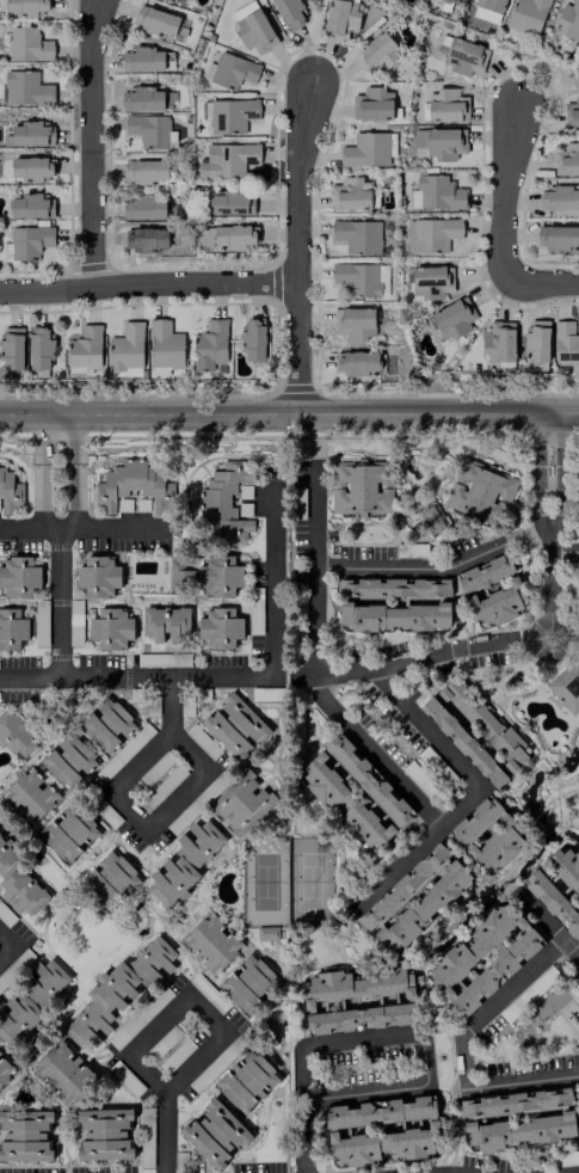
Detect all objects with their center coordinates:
building: (183, 0)
building: (450, 1)
building: (26, 6)
building: (487, 10)
building: (289, 12)
building: (526, 16)
building: (340, 18)
building: (156, 20)
building: (568, 20)
building: (253, 27)
building: (26, 43)
building: (376, 53)
building: (464, 56)
building: (142, 59)
building: (233, 69)
building: (26, 88)
building: (143, 99)
building: (372, 104)
building: (446, 105)
building: (232, 115)
building: (571, 115)
building: (150, 130)
building: (30, 134)
building: (441, 142)
road: (90, 143)
building: (365, 149)
building: (566, 160)
building: (31, 167)
building: (146, 171)
road: (505, 186)
building: (439, 192)
building: (350, 194)
building: (558, 197)
building: (226, 202)
building: (27, 205)
building: (143, 207)
building: (435, 233)
building: (233, 235)
building: (357, 235)
building: (559, 237)
building: (146, 238)
building: (29, 241)
road: (296, 245)
building: (362, 278)
building: (432, 281)
road: (147, 282)
road: (541, 282)
building: (451, 319)
building: (353, 323)
building: (252, 339)
building: (499, 342)
building: (209, 344)
building: (165, 345)
building: (566, 345)
building: (127, 346)
building: (39, 348)
building: (85, 348)
building: (11, 349)
building: (357, 362)
road: (289, 413)
road: (41, 473)
road: (76, 473)
road: (558, 473)
road: (537, 474)
building: (131, 485)
building: (362, 487)
building: (8, 491)
building: (244, 491)
building: (480, 491)
building: (578, 499)
building: (223, 503)
building: (431, 517)
road: (81, 530)
road: (563, 551)
road: (315, 565)
road: (413, 567)
building: (483, 573)
building: (177, 575)
building: (220, 575)
road: (273, 575)
road: (549, 576)
building: (18, 577)
building: (98, 577)
building: (442, 602)
building: (498, 603)
road: (60, 604)
building: (165, 622)
building: (110, 627)
building: (220, 627)
building: (12, 630)
road: (572, 639)
road: (550, 652)
road: (424, 655)
road: (135, 677)
building: (566, 686)
road: (168, 705)
building: (241, 718)
building: (483, 721)
building: (106, 724)
road: (424, 727)
building: (14, 733)
building: (224, 733)
building: (462, 741)
building: (75, 754)
road: (371, 754)
building: (58, 769)
building: (367, 779)
building: (29, 796)
building: (341, 802)
building: (241, 803)
road: (149, 825)
building: (68, 831)
building: (487, 834)
road: (415, 848)
building: (184, 862)
building: (562, 866)
building: (111, 879)
park: (265, 882)
park: (310, 882)
building: (19, 884)
building: (414, 897)
building: (553, 902)
road: (547, 925)
building: (266, 933)
building: (210, 942)
road: (7, 946)
building: (473, 947)
building: (495, 971)
building: (248, 982)
road: (511, 988)
building: (117, 991)
building: (358, 1000)
building: (32, 1001)
road: (361, 1038)
road: (423, 1058)
road: (462, 1061)
building: (5, 1069)
building: (62, 1073)
building: (246, 1080)
road: (522, 1081)
road: (162, 1091)
road: (363, 1092)
building: (515, 1103)
road: (302, 1108)
building: (424, 1130)
road: (162, 1131)
building: (517, 1131)
building: (214, 1132)
building: (103, 1134)
building: (24, 1135)

